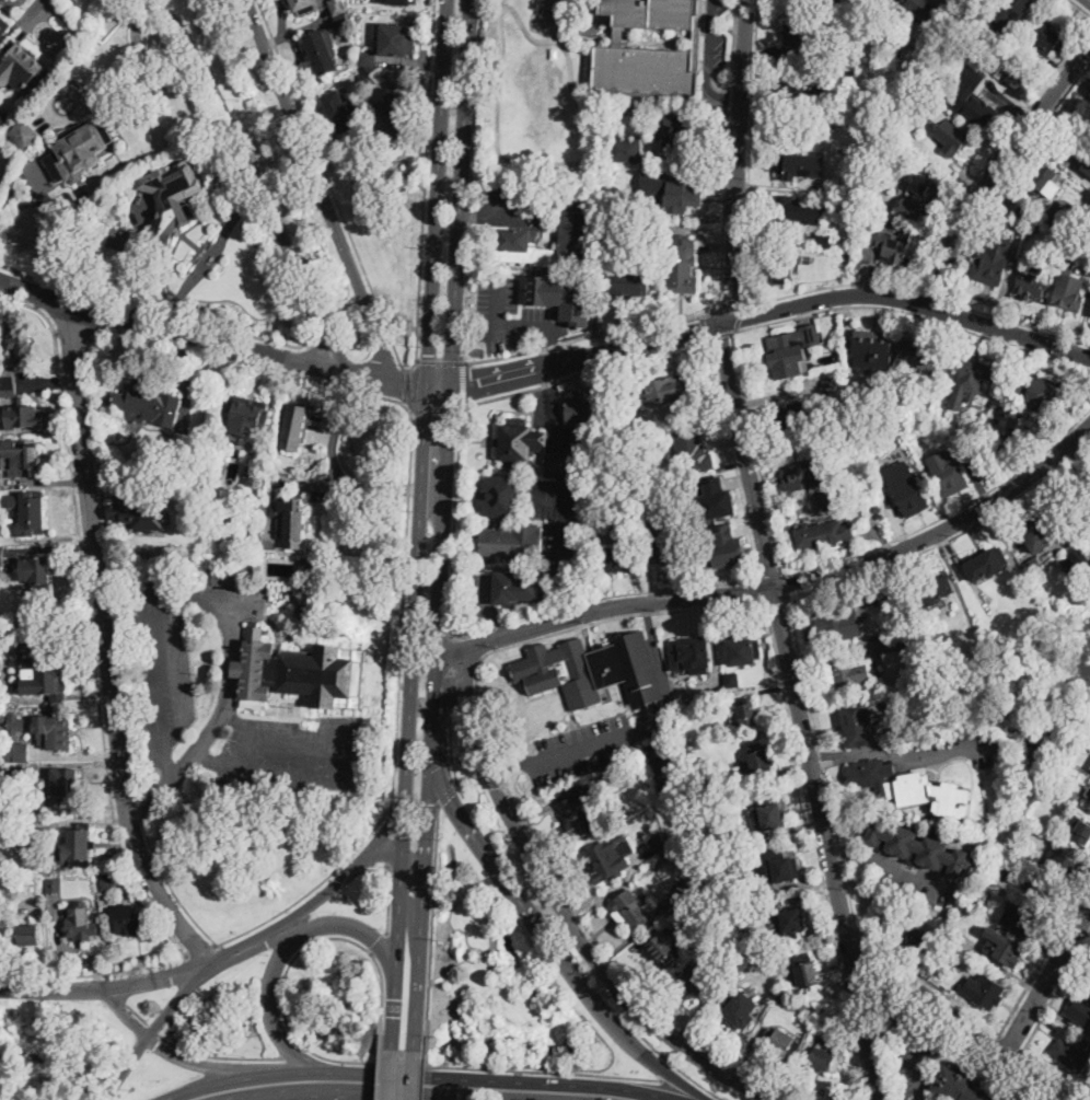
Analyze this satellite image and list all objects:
road: (12, 0)
road: (1089, 0)
building: (401, 2)
building: (787, 2)
building: (879, 2)
road: (554, 5)
building: (304, 7)
building: (337, 7)
road: (1079, 8)
building: (1007, 11)
building: (928, 12)
building: (654, 13)
building: (338, 22)
building: (1, 27)
building: (804, 33)
parking lot: (714, 37)
building: (398, 38)
building: (1050, 39)
building: (1021, 45)
building: (322, 51)
building: (1016, 53)
building: (885, 54)
road: (733, 57)
building: (368, 59)
building: (849, 59)
road: (706, 62)
building: (22, 63)
road: (146, 70)
building: (643, 70)
road: (732, 72)
building: (1021, 74)
building: (371, 76)
building: (802, 90)
road: (731, 95)
building: (1088, 95)
building: (996, 101)
road: (49, 103)
building: (973, 106)
building: (339, 111)
building: (628, 111)
building: (3, 117)
building: (394, 117)
building: (948, 130)
building: (675, 131)
building: (1086, 135)
building: (25, 136)
building: (689, 140)
building: (85, 146)
building: (627, 150)
road: (993, 151)
road: (749, 153)
road: (564, 162)
road: (739, 162)
building: (1085, 164)
building: (797, 166)
road: (995, 166)
road: (1005, 173)
road: (252, 181)
road: (425, 181)
road: (472, 181)
building: (1045, 181)
building: (856, 185)
road: (369, 186)
building: (925, 189)
road: (322, 190)
road: (333, 192)
road: (438, 193)
road: (462, 193)
building: (683, 193)
building: (855, 199)
parking lot: (509, 202)
building: (616, 205)
road: (500, 206)
building: (874, 206)
building: (166, 209)
road: (726, 210)
building: (790, 215)
building: (1022, 215)
building: (1067, 215)
building: (1035, 225)
building: (575, 228)
building: (117, 238)
building: (823, 240)
building: (895, 245)
building: (993, 260)
building: (683, 267)
building: (784, 269)
building: (1032, 281)
building: (629, 282)
road: (832, 287)
building: (1069, 288)
road: (40, 294)
road: (934, 294)
building: (565, 298)
road: (824, 299)
road: (18, 301)
road: (917, 301)
road: (728, 309)
road: (941, 310)
road: (309, 312)
parking lot: (537, 312)
road: (112, 314)
road: (740, 319)
road: (1017, 323)
building: (407, 326)
road: (518, 328)
road: (705, 328)
road: (1009, 331)
road: (71, 335)
road: (587, 335)
road: (719, 335)
road: (188, 336)
road: (380, 336)
building: (23, 341)
road: (327, 344)
road: (358, 344)
building: (873, 347)
building: (792, 350)
traffic signals: (430, 352)
road: (587, 357)
building: (926, 357)
road: (440, 360)
road: (583, 371)
building: (901, 371)
building: (974, 375)
road: (553, 379)
building: (8, 382)
road: (463, 382)
building: (831, 382)
traffic signals: (402, 384)
road: (404, 384)
traffic signals: (477, 384)
road: (408, 385)
road: (439, 385)
building: (1017, 387)
building: (662, 392)
building: (1042, 395)
building: (150, 406)
road: (434, 406)
building: (604, 406)
building: (579, 409)
building: (1067, 410)
traffic signals: (450, 414)
building: (793, 415)
building: (23, 416)
building: (248, 416)
building: (1010, 421)
building: (295, 425)
building: (520, 443)
building: (638, 445)
road: (755, 445)
road: (1064, 448)
building: (693, 453)
building: (23, 454)
building: (908, 454)
road: (1074, 455)
road: (1064, 462)
road: (1046, 463)
building: (228, 464)
building: (251, 474)
building: (804, 474)
building: (948, 474)
road: (1072, 474)
road: (567, 485)
road: (101, 487)
building: (909, 493)
building: (503, 496)
building: (715, 497)
building: (836, 499)
road: (549, 500)
building: (257, 505)
building: (641, 505)
building: (878, 510)
building: (32, 513)
building: (138, 516)
road: (455, 517)
building: (643, 519)
building: (292, 521)
building: (1039, 533)
building: (823, 534)
building: (721, 541)
building: (509, 543)
building: (670, 546)
building: (1, 552)
building: (616, 559)
building: (987, 564)
building: (1077, 564)
building: (1033, 566)
building: (256, 568)
building: (308, 569)
building: (36, 571)
building: (224, 577)
road: (773, 578)
road: (441, 580)
road: (761, 581)
building: (519, 587)
road: (785, 587)
road: (781, 588)
building: (936, 589)
road: (763, 591)
building: (883, 593)
road: (482, 601)
road: (569, 601)
road: (776, 601)
building: (303, 606)
building: (838, 624)
road: (506, 625)
road: (506, 626)
road: (583, 626)
road: (472, 633)
road: (90, 637)
building: (911, 640)
road: (107, 646)
building: (741, 649)
road: (450, 650)
building: (691, 656)
building: (42, 670)
building: (593, 670)
building: (300, 672)
building: (853, 676)
building: (732, 680)
road: (449, 693)
building: (3, 700)
building: (931, 703)
road: (800, 711)
building: (747, 714)
road: (410, 717)
road: (396, 719)
building: (15, 723)
building: (858, 725)
road: (888, 726)
building: (56, 730)
building: (0, 731)
road: (607, 737)
building: (1080, 738)
road: (450, 752)
road: (944, 753)
building: (20, 755)
road: (845, 757)
building: (758, 760)
road: (821, 761)
building: (594, 765)
building: (1089, 769)
building: (1, 772)
building: (610, 774)
building: (18, 775)
building: (873, 779)
building: (66, 784)
building: (623, 785)
building: (1088, 791)
road: (445, 792)
traffic signals: (449, 798)
building: (943, 799)
building: (1089, 799)
traffic signals: (430, 802)
building: (1089, 806)
building: (1089, 808)
building: (580, 814)
building: (767, 815)
road: (389, 827)
building: (1082, 832)
building: (26, 835)
road: (393, 837)
building: (723, 837)
building: (77, 846)
building: (659, 846)
building: (917, 847)
building: (0, 849)
road: (842, 854)
road: (395, 855)
building: (604, 861)
road: (873, 861)
building: (1066, 861)
building: (773, 868)
building: (1004, 872)
building: (54, 885)
building: (108, 885)
building: (684, 888)
building: (732, 890)
building: (1044, 891)
road: (389, 899)
building: (105, 903)
building: (630, 910)
building: (695, 910)
road: (422, 912)
road: (292, 915)
building: (739, 915)
road: (566, 917)
building: (1022, 919)
building: (130, 920)
building: (791, 920)
building: (81, 924)
road: (431, 925)
building: (905, 933)
building: (28, 934)
road: (847, 934)
road: (268, 941)
road: (379, 942)
building: (665, 948)
building: (1004, 948)
road: (199, 949)
road: (556, 949)
road: (285, 952)
building: (738, 952)
building: (784, 957)
building: (950, 959)
road: (3, 970)
building: (805, 971)
road: (97, 973)
road: (3, 976)
building: (772, 976)
building: (701, 981)
road: (1047, 983)
road: (107, 987)
building: (986, 992)
building: (781, 995)
road: (281, 996)
road: (383, 998)
building: (1080, 1008)
road: (137, 1012)
building: (737, 1012)
road: (955, 1018)
road: (152, 1028)
road: (1035, 1028)
road: (154, 1029)
building: (781, 1042)
road: (1010, 1042)
building: (810, 1043)
road: (914, 1045)
road: (171, 1053)
building: (1071, 1054)
road: (218, 1055)
building: (828, 1057)
road: (675, 1065)
road: (519, 1069)
road: (381, 1074)
road: (391, 1074)
road: (414, 1075)
road: (424, 1075)
road: (467, 1078)
road: (211, 1082)
building: (959, 1087)
road: (394, 1090)
road: (224, 1097)
road: (233, 1097)

